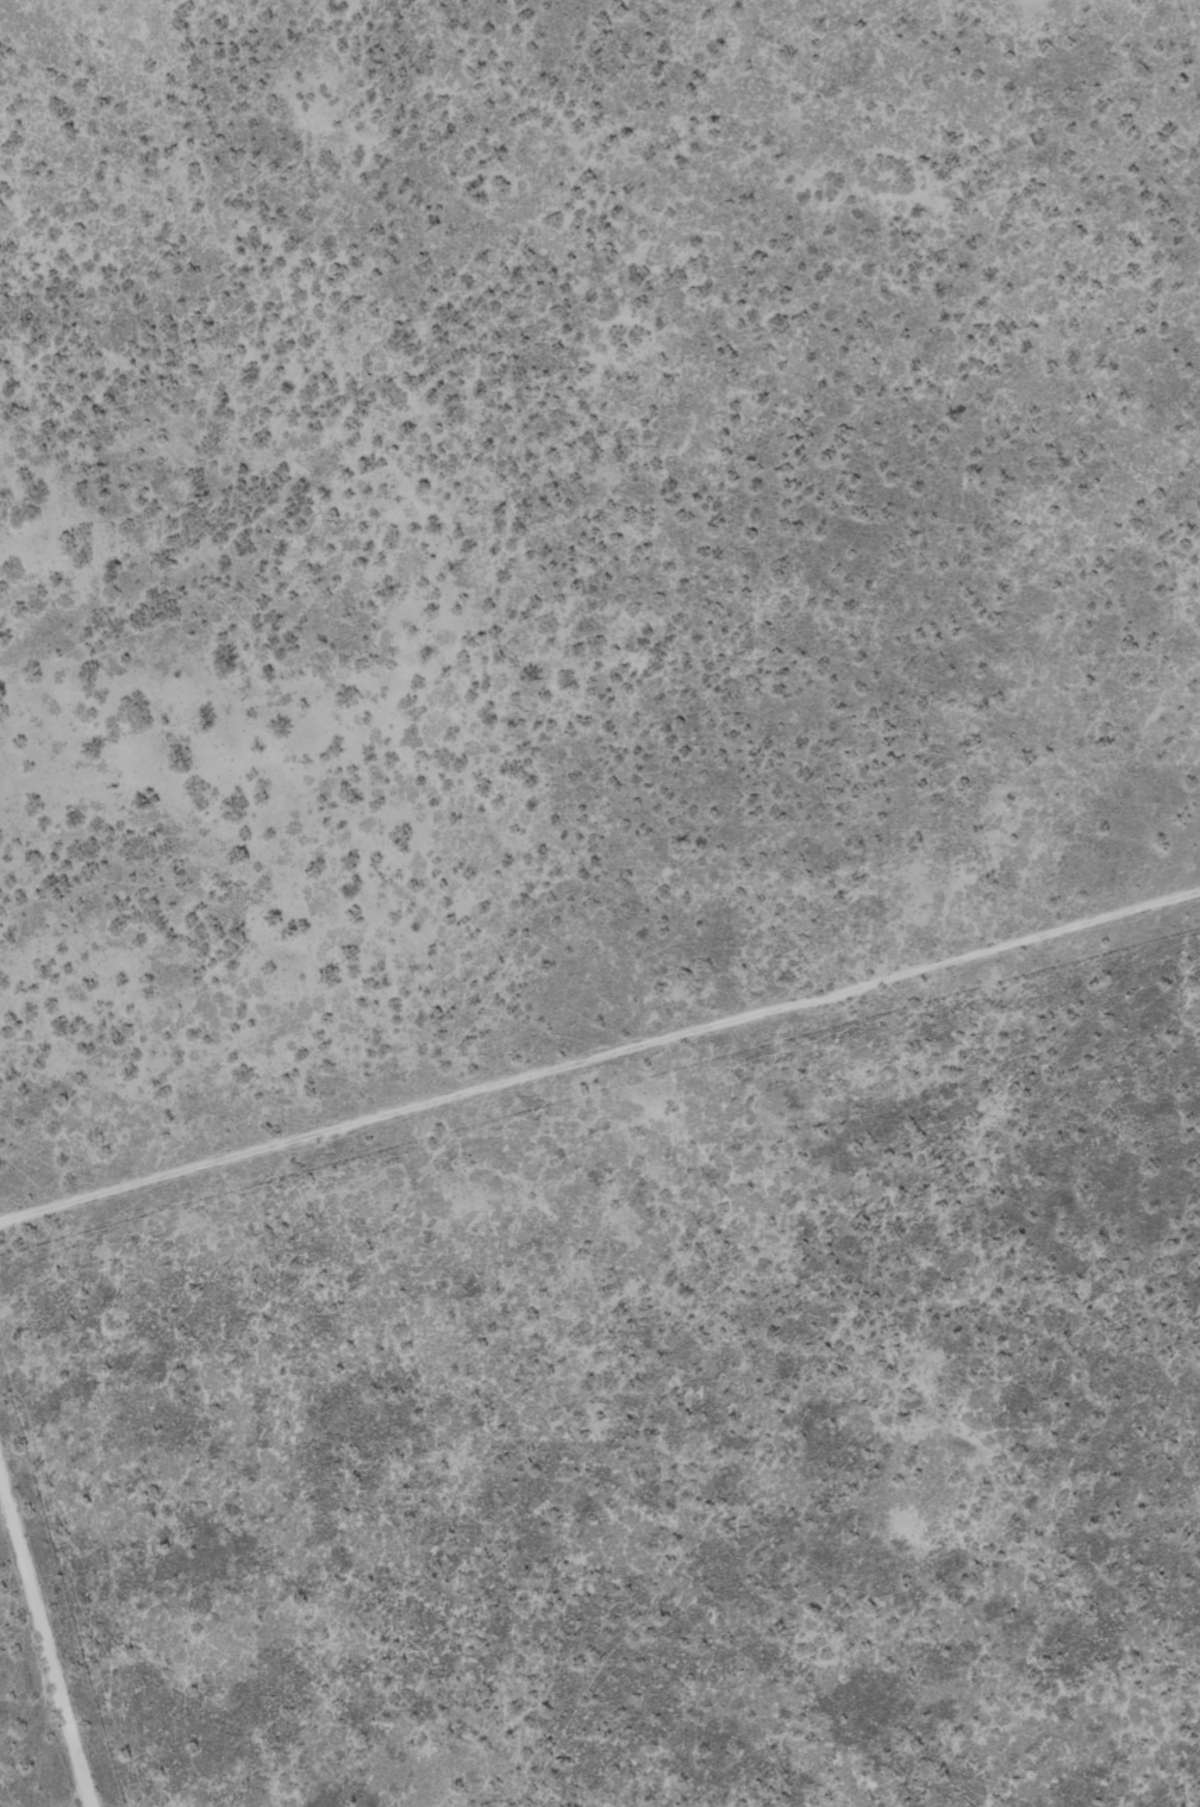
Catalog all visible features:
road: (600, 1061)
road: (46, 1631)

